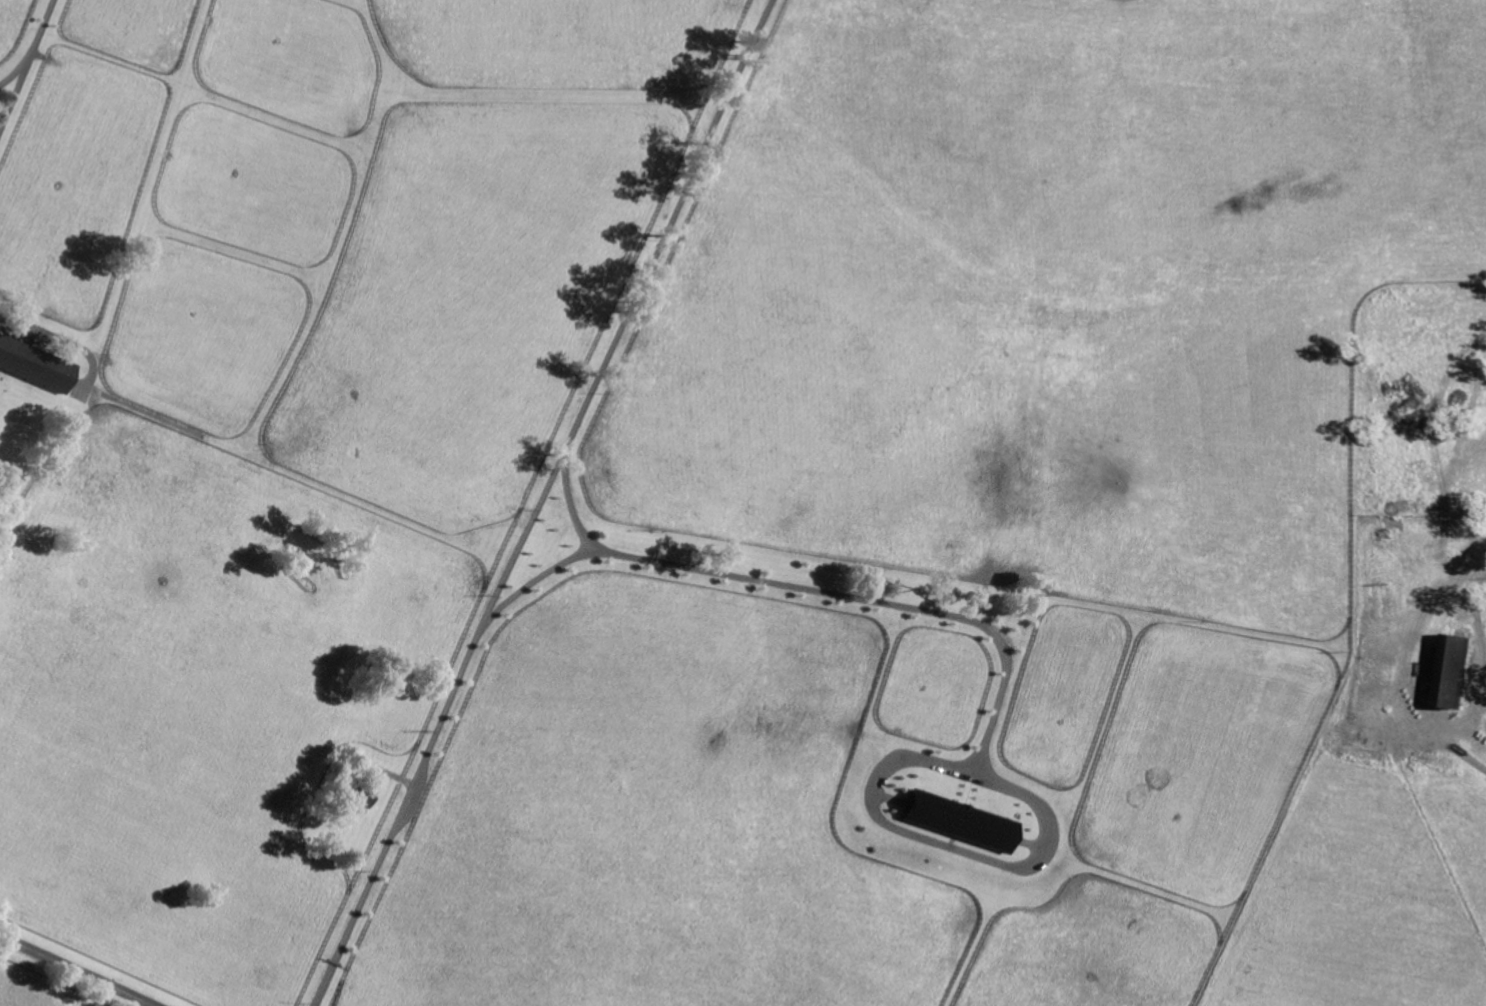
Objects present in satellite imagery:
road: (27, 65)
road: (14, 73)
road: (72, 102)
building: (36, 364)
road: (541, 501)
road: (572, 509)
road: (809, 588)
building: (1444, 655)
building: (1461, 670)
building: (961, 821)
road: (77, 970)

